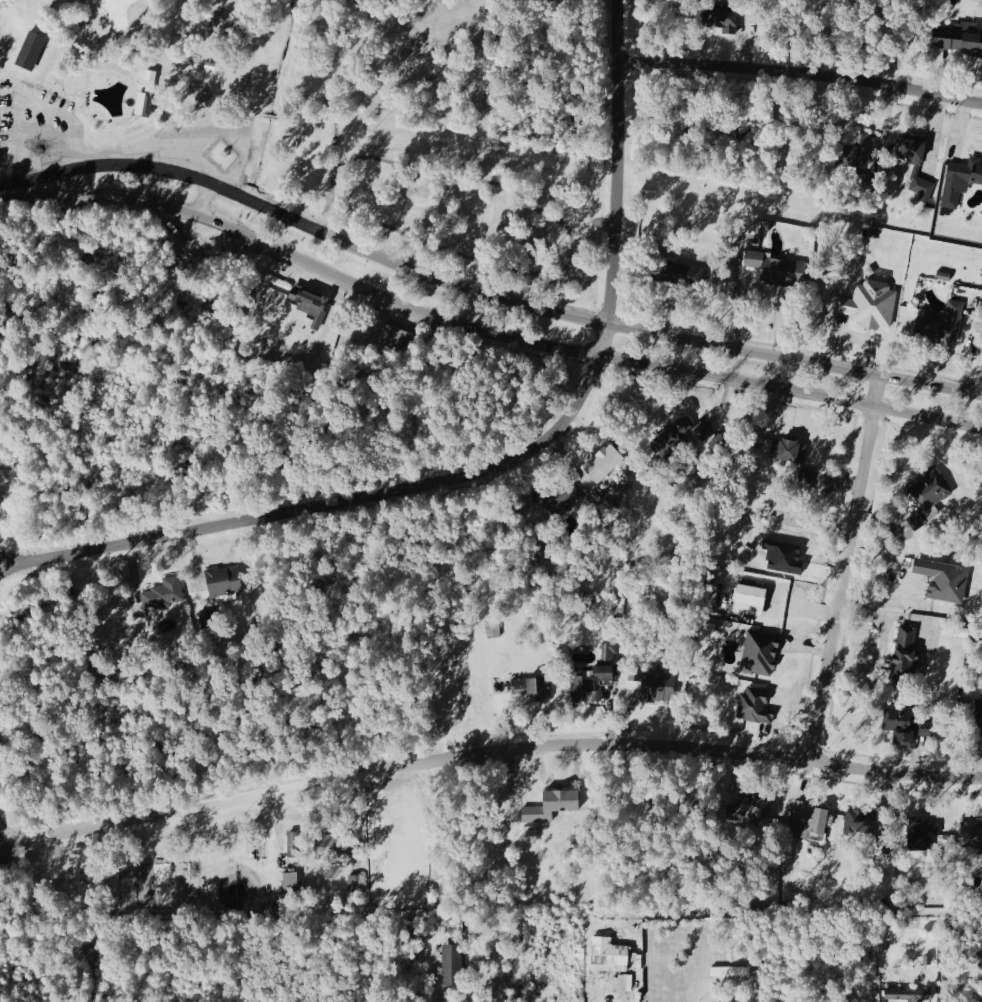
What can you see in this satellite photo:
building: (721, 17)
building: (958, 37)
building: (30, 50)
building: (211, 65)
road: (801, 75)
road: (19, 100)
building: (146, 101)
parking lot: (37, 128)
road: (958, 133)
road: (223, 134)
parking lot: (204, 143)
building: (910, 147)
building: (851, 149)
park: (333, 161)
road: (344, 162)
road: (334, 174)
building: (959, 181)
building: (865, 182)
building: (921, 185)
road: (1, 190)
road: (204, 199)
road: (572, 245)
road: (354, 247)
building: (776, 269)
building: (680, 274)
building: (943, 276)
road: (353, 281)
building: (308, 300)
road: (735, 301)
building: (869, 304)
building: (940, 323)
building: (395, 335)
road: (855, 336)
road: (846, 369)
road: (844, 401)
road: (721, 413)
building: (673, 437)
building: (788, 449)
building: (606, 461)
road: (499, 464)
building: (807, 475)
building: (930, 488)
building: (615, 494)
building: (560, 496)
road: (843, 567)
building: (943, 579)
building: (224, 580)
building: (165, 592)
building: (750, 599)
building: (494, 628)
road: (884, 647)
building: (762, 650)
building: (905, 657)
building: (596, 676)
building: (657, 683)
building: (534, 687)
building: (755, 705)
building: (979, 717)
building: (902, 723)
building: (925, 727)
road: (487, 750)
building: (552, 804)
building: (753, 804)
building: (808, 820)
building: (859, 821)
building: (972, 833)
building: (921, 835)
building: (294, 842)
building: (334, 844)
road: (269, 867)
building: (354, 885)
building: (291, 886)
building: (612, 952)
building: (453, 963)
building: (731, 970)
building: (623, 984)
road: (88, 985)
building: (910, 992)

